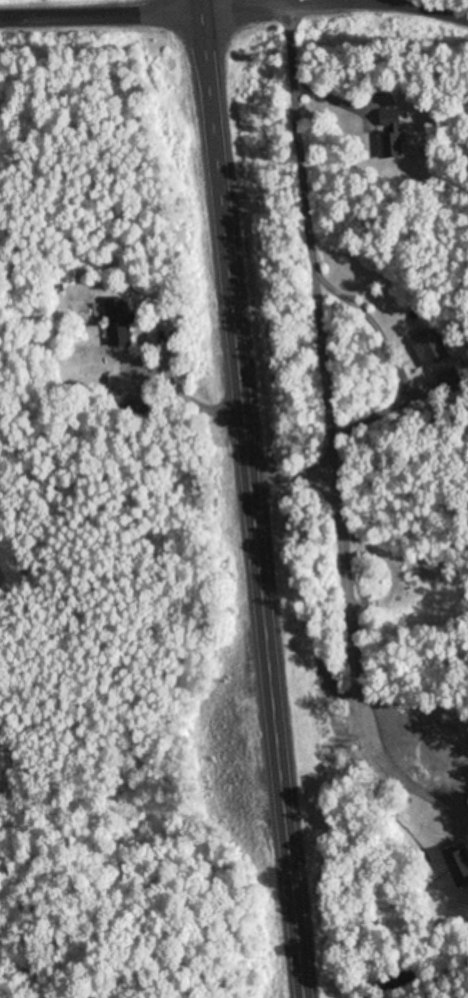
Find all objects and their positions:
road: (337, 8)
road: (101, 14)
building: (392, 131)
building: (119, 320)
building: (432, 347)
building: (88, 384)
road: (253, 499)
building: (460, 865)

